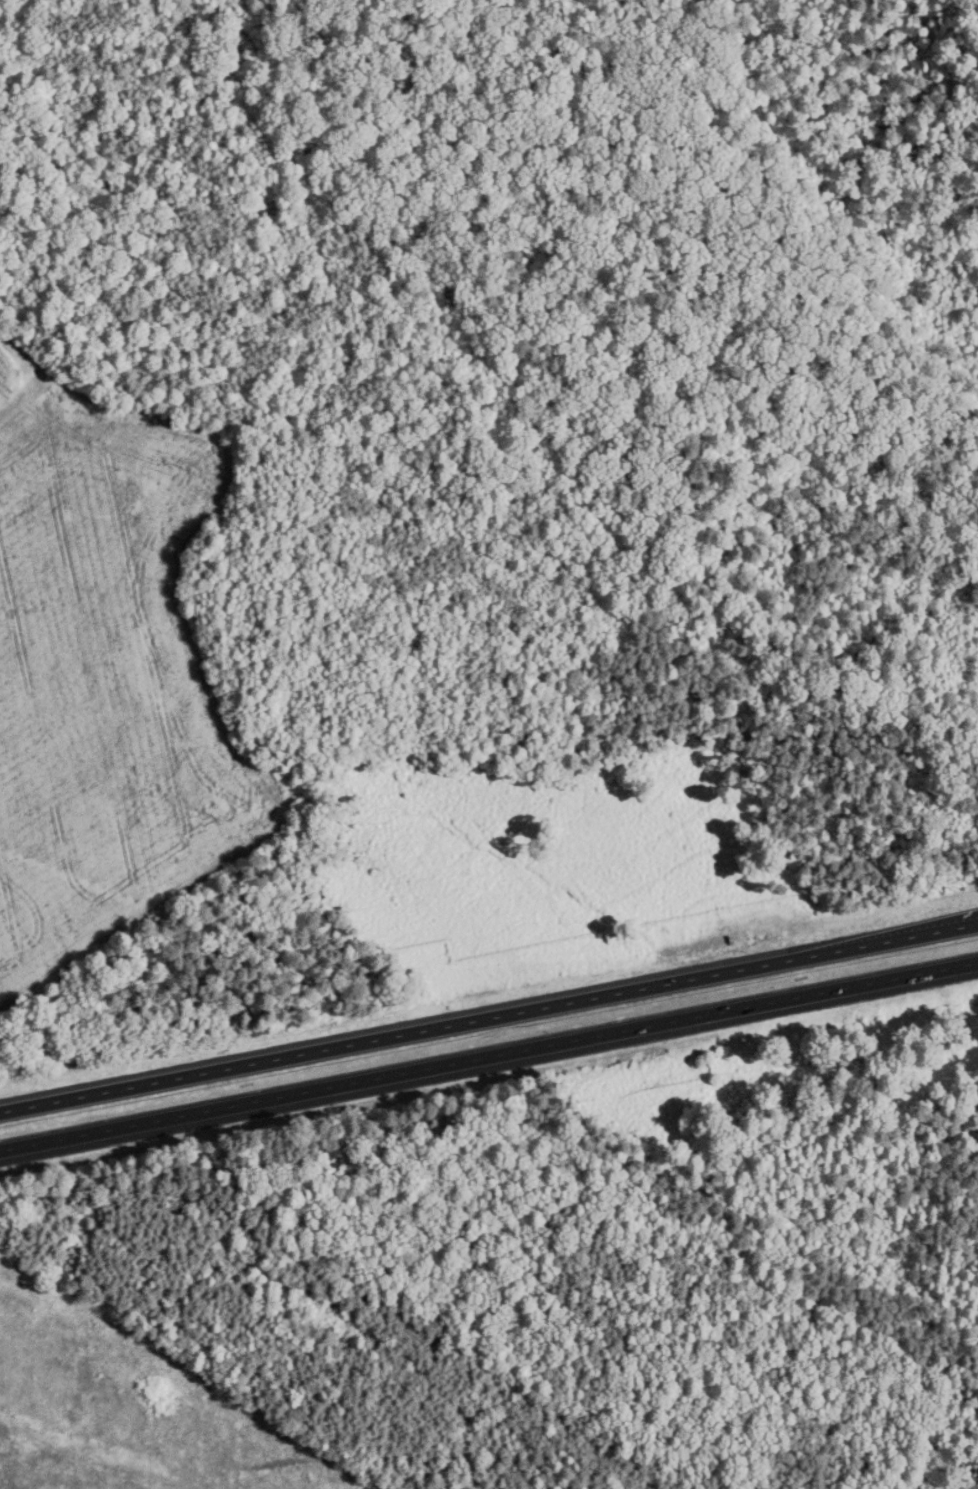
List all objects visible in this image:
road: (489, 1017)
road: (489, 1056)

